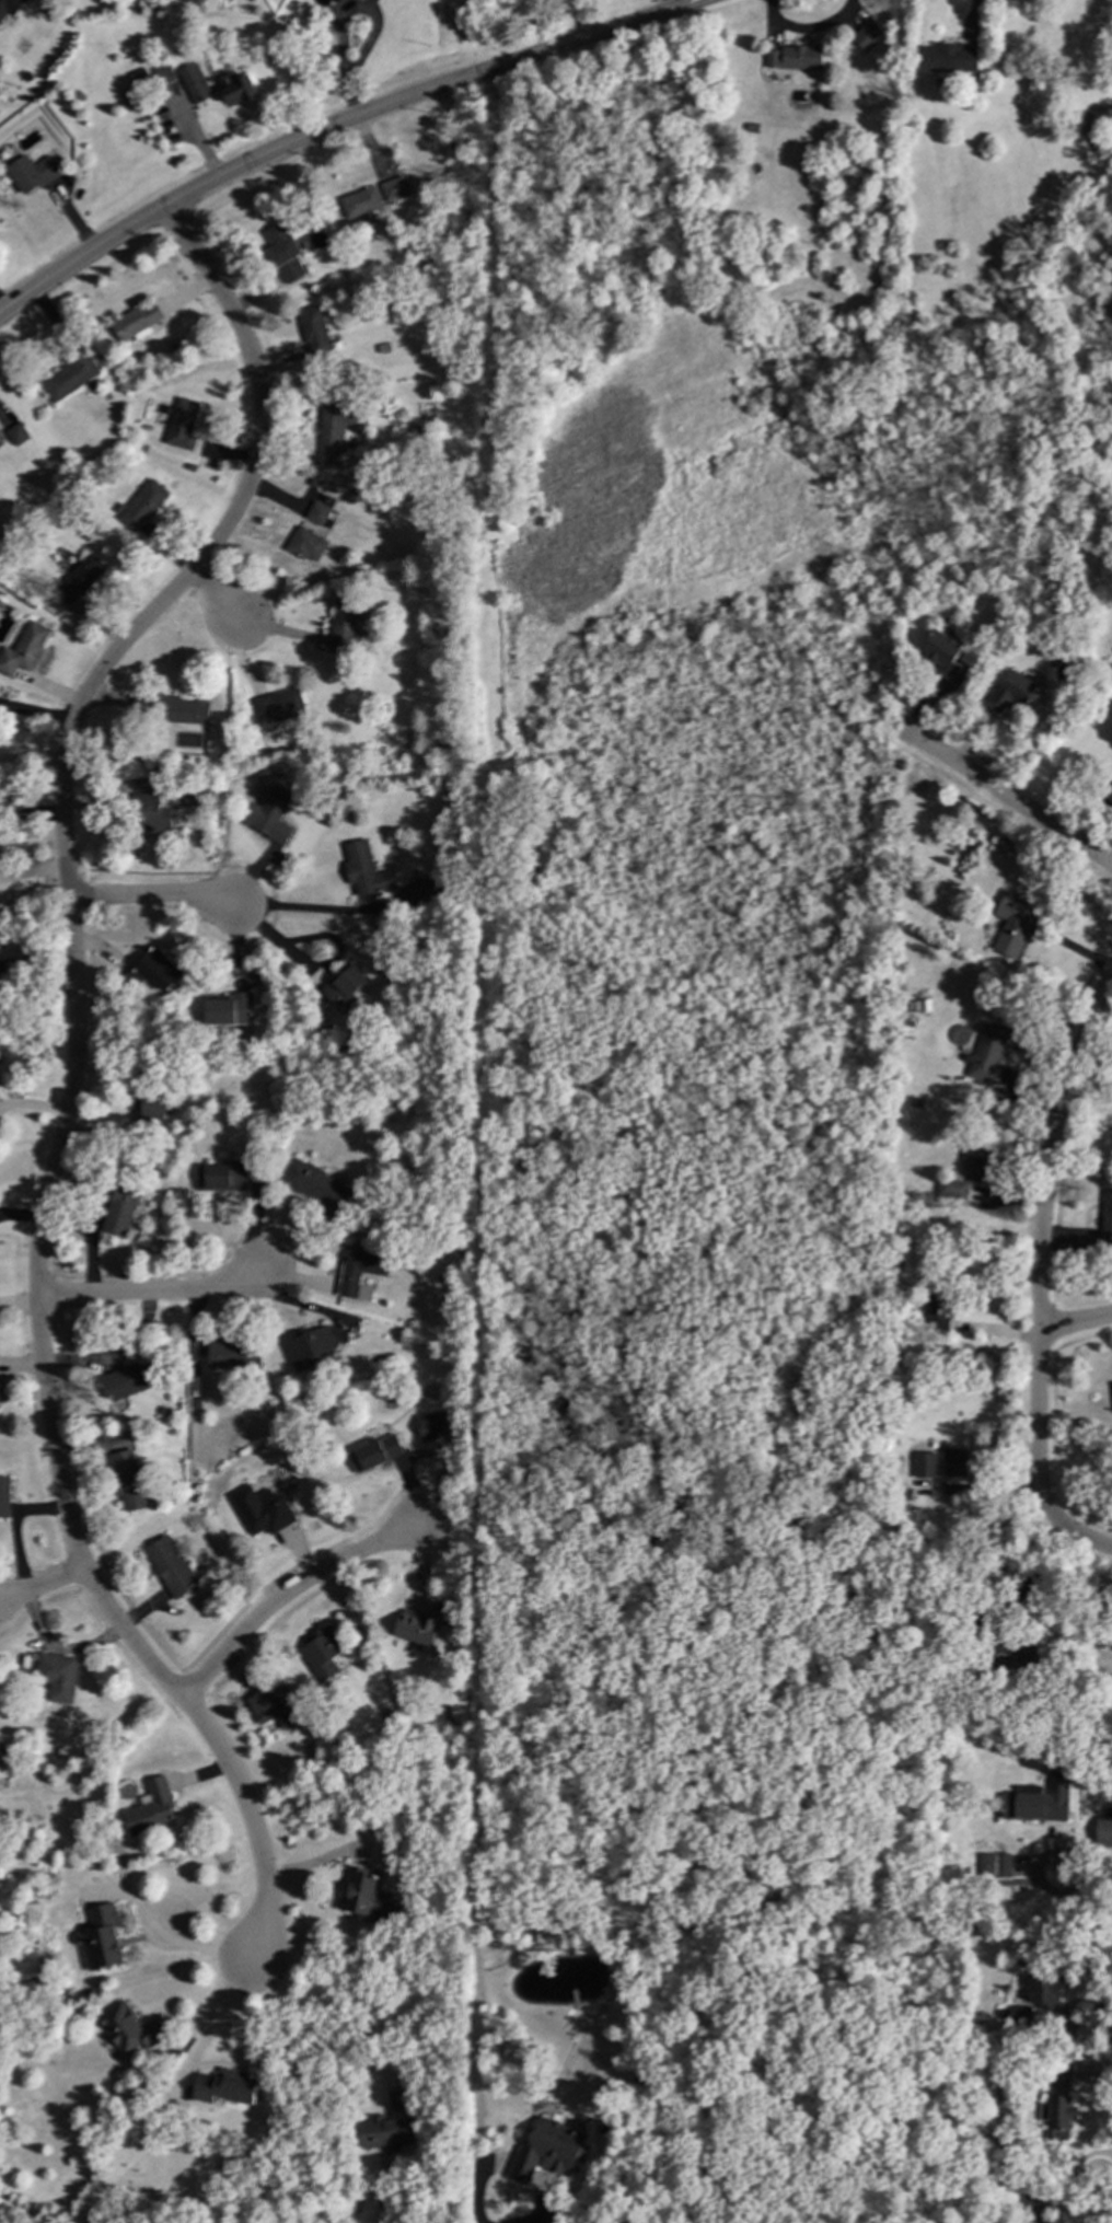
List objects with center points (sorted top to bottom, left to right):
building: (10, 7)
road: (346, 11)
building: (866, 34)
road: (584, 35)
building: (943, 56)
building: (795, 57)
building: (162, 74)
building: (1035, 78)
building: (934, 81)
building: (194, 83)
building: (235, 88)
building: (1044, 89)
building: (750, 126)
road: (225, 171)
building: (30, 173)
building: (393, 188)
building: (359, 202)
building: (282, 253)
building: (135, 323)
building: (313, 332)
building: (69, 375)
building: (182, 424)
building: (334, 425)
building: (16, 435)
building: (141, 506)
building: (316, 512)
building: (304, 544)
building: (440, 566)
building: (78, 580)
road: (216, 594)
building: (344, 626)
building: (22, 649)
building: (940, 652)
building: (1009, 691)
building: (276, 707)
building: (181, 710)
building: (441, 744)
building: (1109, 794)
road: (1010, 797)
building: (150, 813)
building: (268, 815)
road: (30, 817)
building: (1004, 837)
building: (363, 870)
building: (420, 890)
road: (158, 895)
road: (314, 908)
building: (1012, 923)
building: (153, 970)
building: (344, 986)
building: (922, 1004)
building: (228, 1009)
building: (988, 1052)
road: (71, 1072)
building: (915, 1101)
building: (152, 1110)
building: (977, 1159)
building: (223, 1177)
building: (315, 1186)
building: (951, 1188)
building: (120, 1211)
building: (1107, 1217)
road: (1041, 1252)
building: (360, 1271)
road: (153, 1294)
building: (937, 1301)
road: (1076, 1322)
building: (308, 1346)
building: (233, 1355)
road: (117, 1358)
building: (919, 1359)
building: (128, 1380)
building: (1104, 1394)
building: (433, 1426)
building: (374, 1454)
building: (953, 1461)
building: (923, 1463)
building: (128, 1480)
building: (905, 1493)
building: (3, 1496)
building: (260, 1510)
road: (1096, 1541)
building: (171, 1566)
road: (1034, 1575)
road: (43, 1585)
road: (285, 1594)
building: (978, 1625)
building: (421, 1626)
building: (1110, 1636)
building: (1020, 1653)
building: (57, 1676)
building: (274, 1705)
building: (1018, 1737)
building: (1043, 1801)
building: (151, 1808)
building: (1107, 1829)
building: (997, 1864)
road: (1035, 1865)
building: (360, 1891)
road: (1089, 1904)
building: (100, 1937)
road: (171, 1942)
building: (1024, 1961)
building: (1047, 1989)
road: (207, 2003)
building: (1020, 2015)
road: (217, 2018)
road: (312, 2023)
building: (129, 2028)
building: (528, 2068)
building: (1064, 2074)
building: (224, 2086)
building: (1063, 2117)
building: (389, 2124)
building: (553, 2150)
building: (1033, 2184)
building: (1036, 2209)

